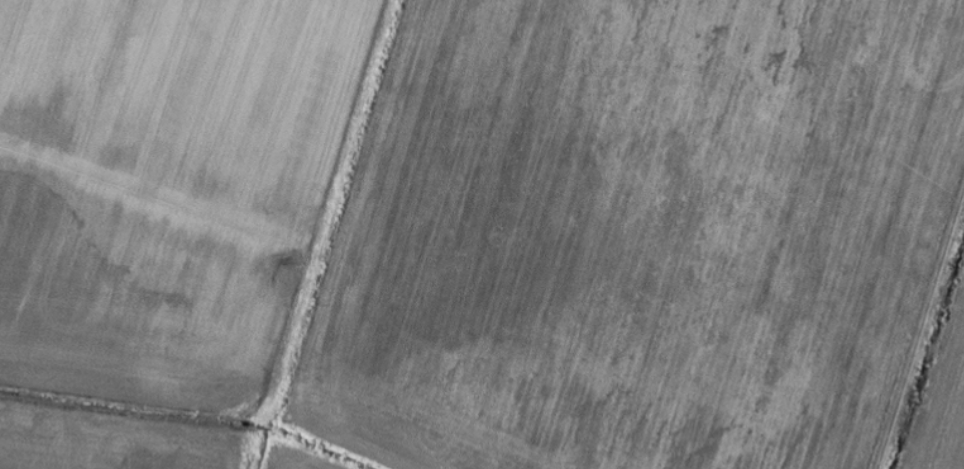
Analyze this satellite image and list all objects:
road: (917, 326)

